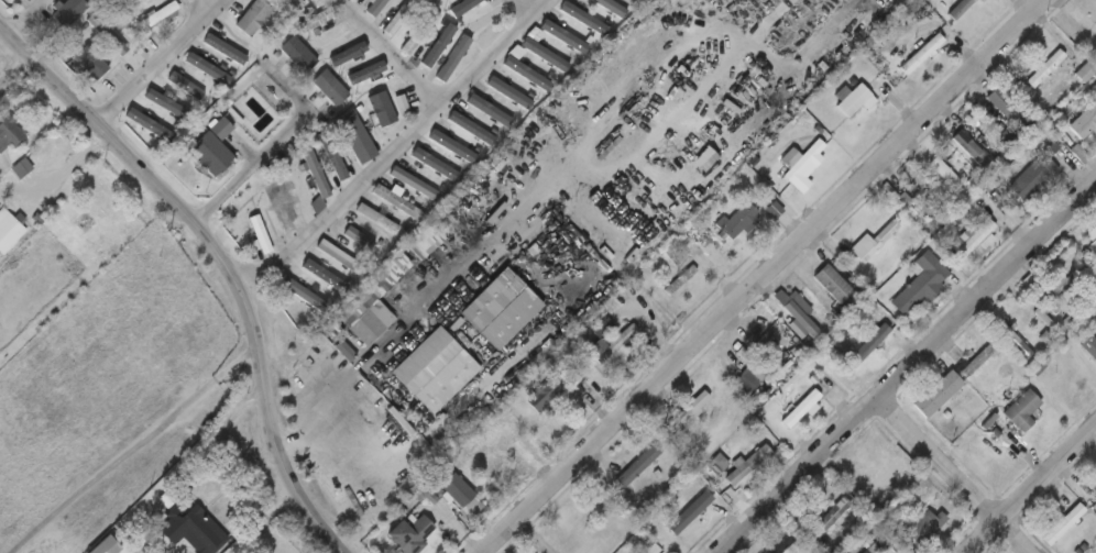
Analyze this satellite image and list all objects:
building: (13, 0)
building: (638, 0)
building: (982, 1)
building: (129, 3)
building: (295, 3)
road: (200, 5)
building: (376, 7)
building: (465, 7)
building: (613, 7)
building: (960, 8)
road: (522, 10)
building: (66, 11)
building: (160, 13)
building: (1094, 15)
building: (252, 16)
building: (581, 16)
building: (401, 18)
building: (316, 20)
building: (1094, 20)
building: (420, 33)
building: (108, 34)
building: (297, 53)
building: (922, 53)
building: (546, 55)
road: (388, 56)
building: (451, 58)
building: (92, 62)
road: (158, 64)
building: (1042, 68)
road: (12, 69)
building: (526, 71)
building: (1086, 74)
building: (186, 85)
building: (329, 87)
building: (506, 91)
building: (856, 100)
building: (1010, 110)
road: (441, 111)
building: (1085, 122)
building: (152, 128)
building: (472, 128)
building: (10, 133)
building: (355, 136)
road: (273, 144)
building: (449, 147)
building: (969, 147)
building: (209, 154)
building: (804, 167)
building: (22, 170)
building: (1037, 170)
building: (944, 172)
building: (314, 181)
building: (413, 184)
building: (395, 202)
building: (283, 207)
building: (912, 210)
building: (376, 218)
building: (736, 221)
building: (10, 230)
building: (257, 235)
building: (359, 241)
building: (425, 241)
building: (874, 242)
building: (1093, 245)
building: (340, 255)
road: (286, 256)
road: (220, 263)
road: (770, 278)
building: (1065, 283)
building: (834, 284)
building: (921, 284)
building: (303, 292)
building: (377, 300)
building: (812, 318)
building: (613, 344)
building: (1089, 346)
building: (864, 349)
building: (977, 360)
building: (426, 362)
building: (750, 366)
road: (910, 367)
building: (570, 379)
building: (938, 394)
building: (544, 395)
road: (320, 407)
building: (1022, 409)
building: (810, 411)
building: (687, 416)
building: (419, 425)
road: (331, 432)
building: (715, 442)
road: (130, 449)
road: (940, 458)
building: (502, 460)
building: (754, 462)
building: (714, 466)
building: (639, 468)
building: (1093, 483)
building: (428, 488)
road: (1030, 489)
building: (458, 493)
building: (690, 512)
building: (896, 513)
building: (1064, 523)
building: (927, 527)
building: (198, 528)
building: (413, 535)
building: (839, 535)
road: (1013, 537)
building: (780, 543)
building: (101, 545)
building: (873, 550)

